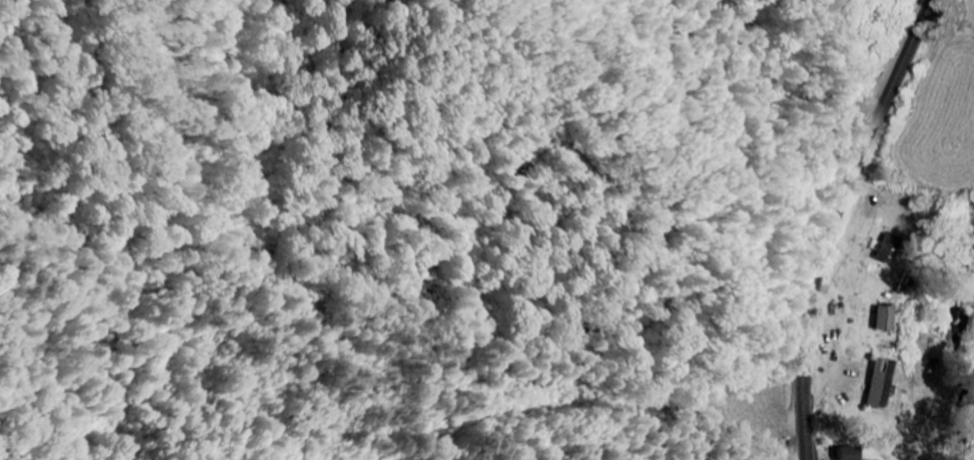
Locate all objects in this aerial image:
road: (846, 222)
building: (887, 249)
building: (885, 320)
building: (857, 362)
building: (881, 386)
road: (967, 446)
building: (847, 455)

